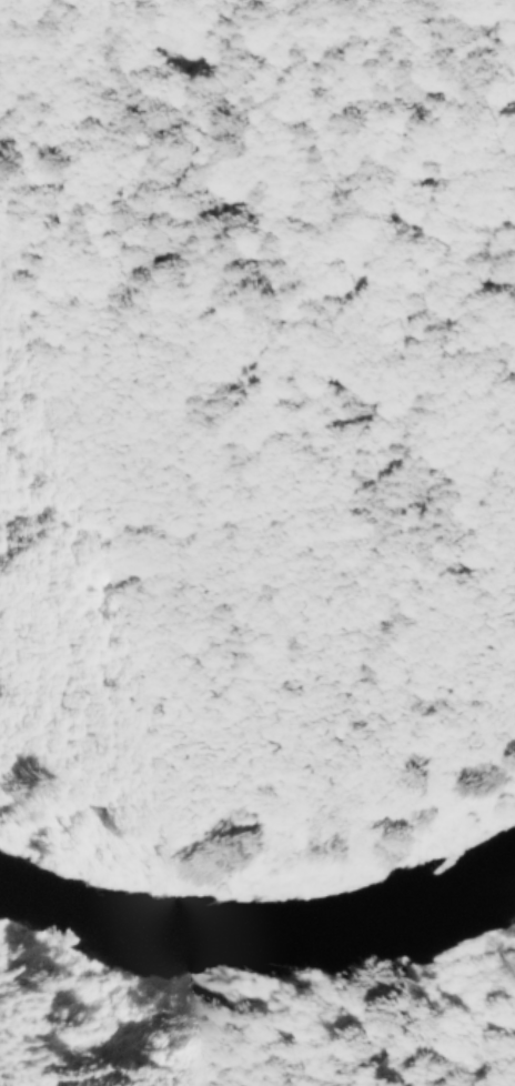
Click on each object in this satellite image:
river: (260, 928)

